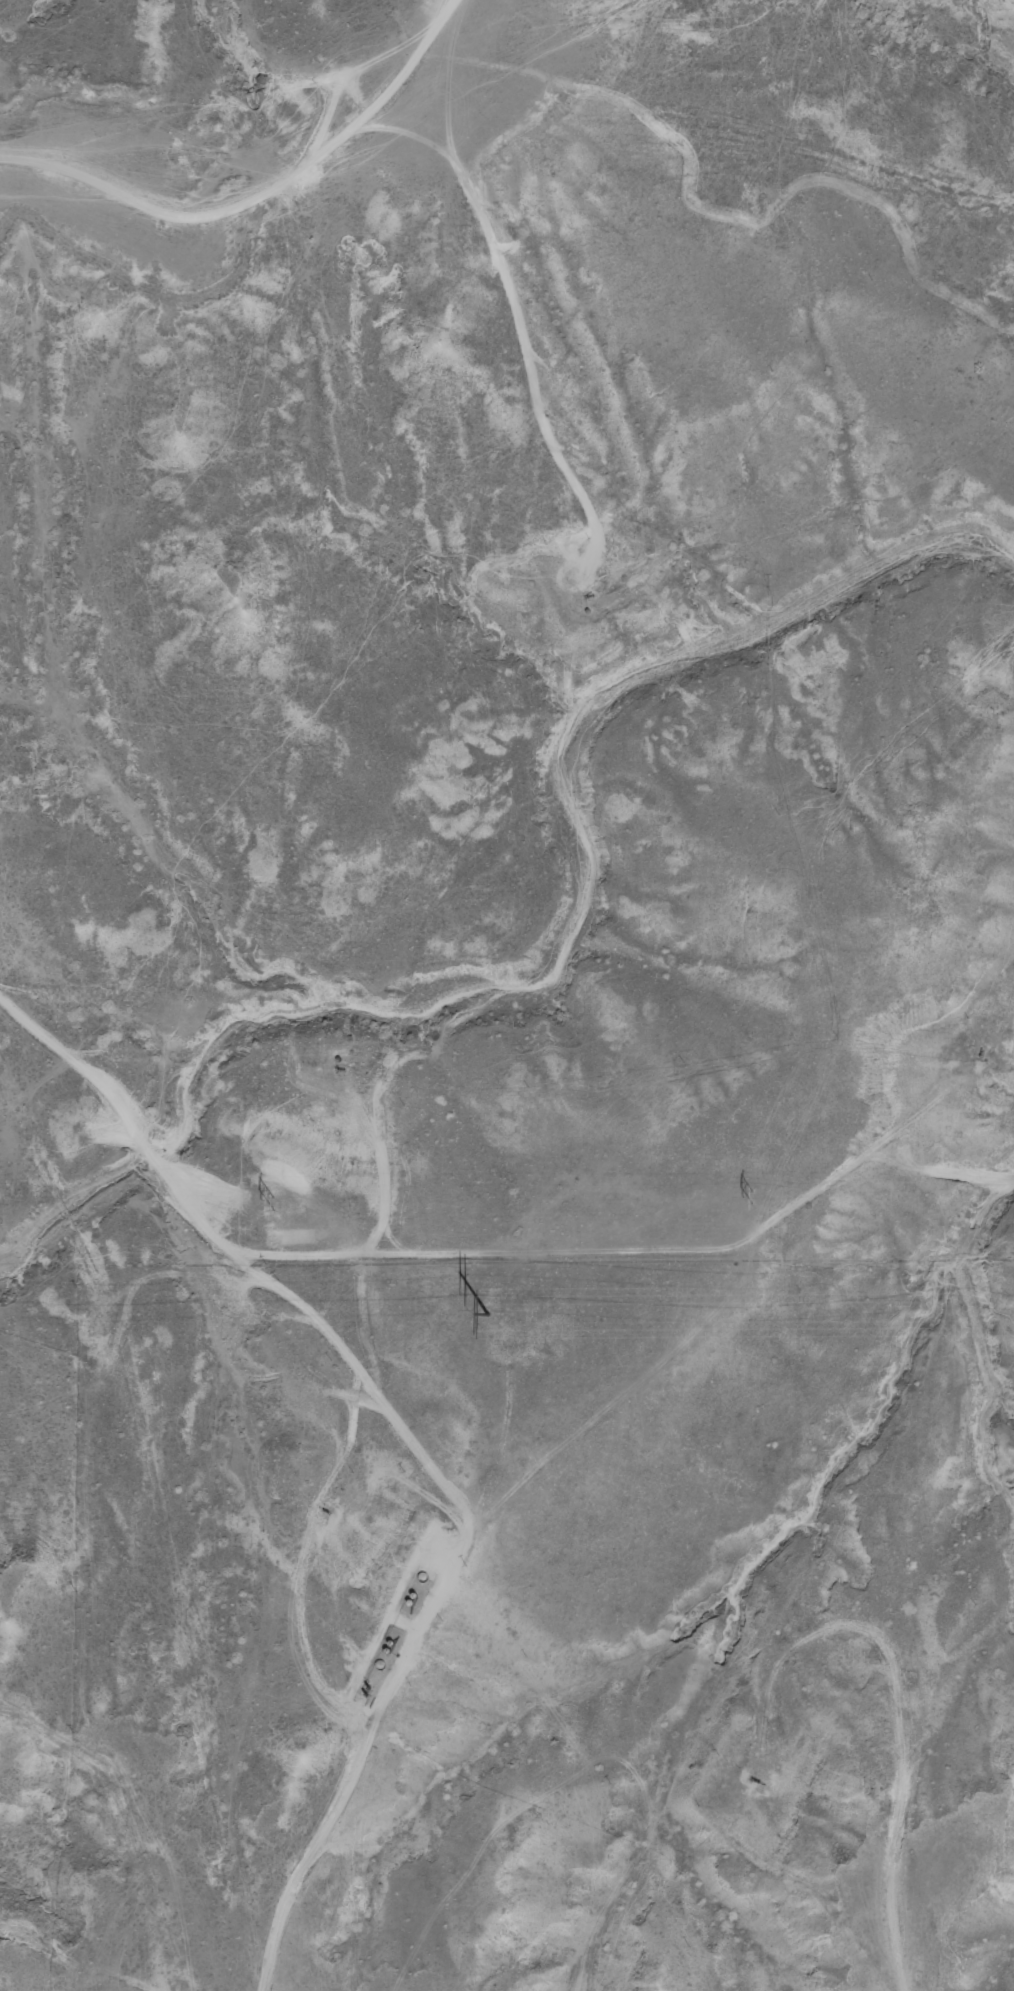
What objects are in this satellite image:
road: (260, 153)
power tower: (751, 1198)
power tower: (271, 1204)
power tower: (488, 1314)

